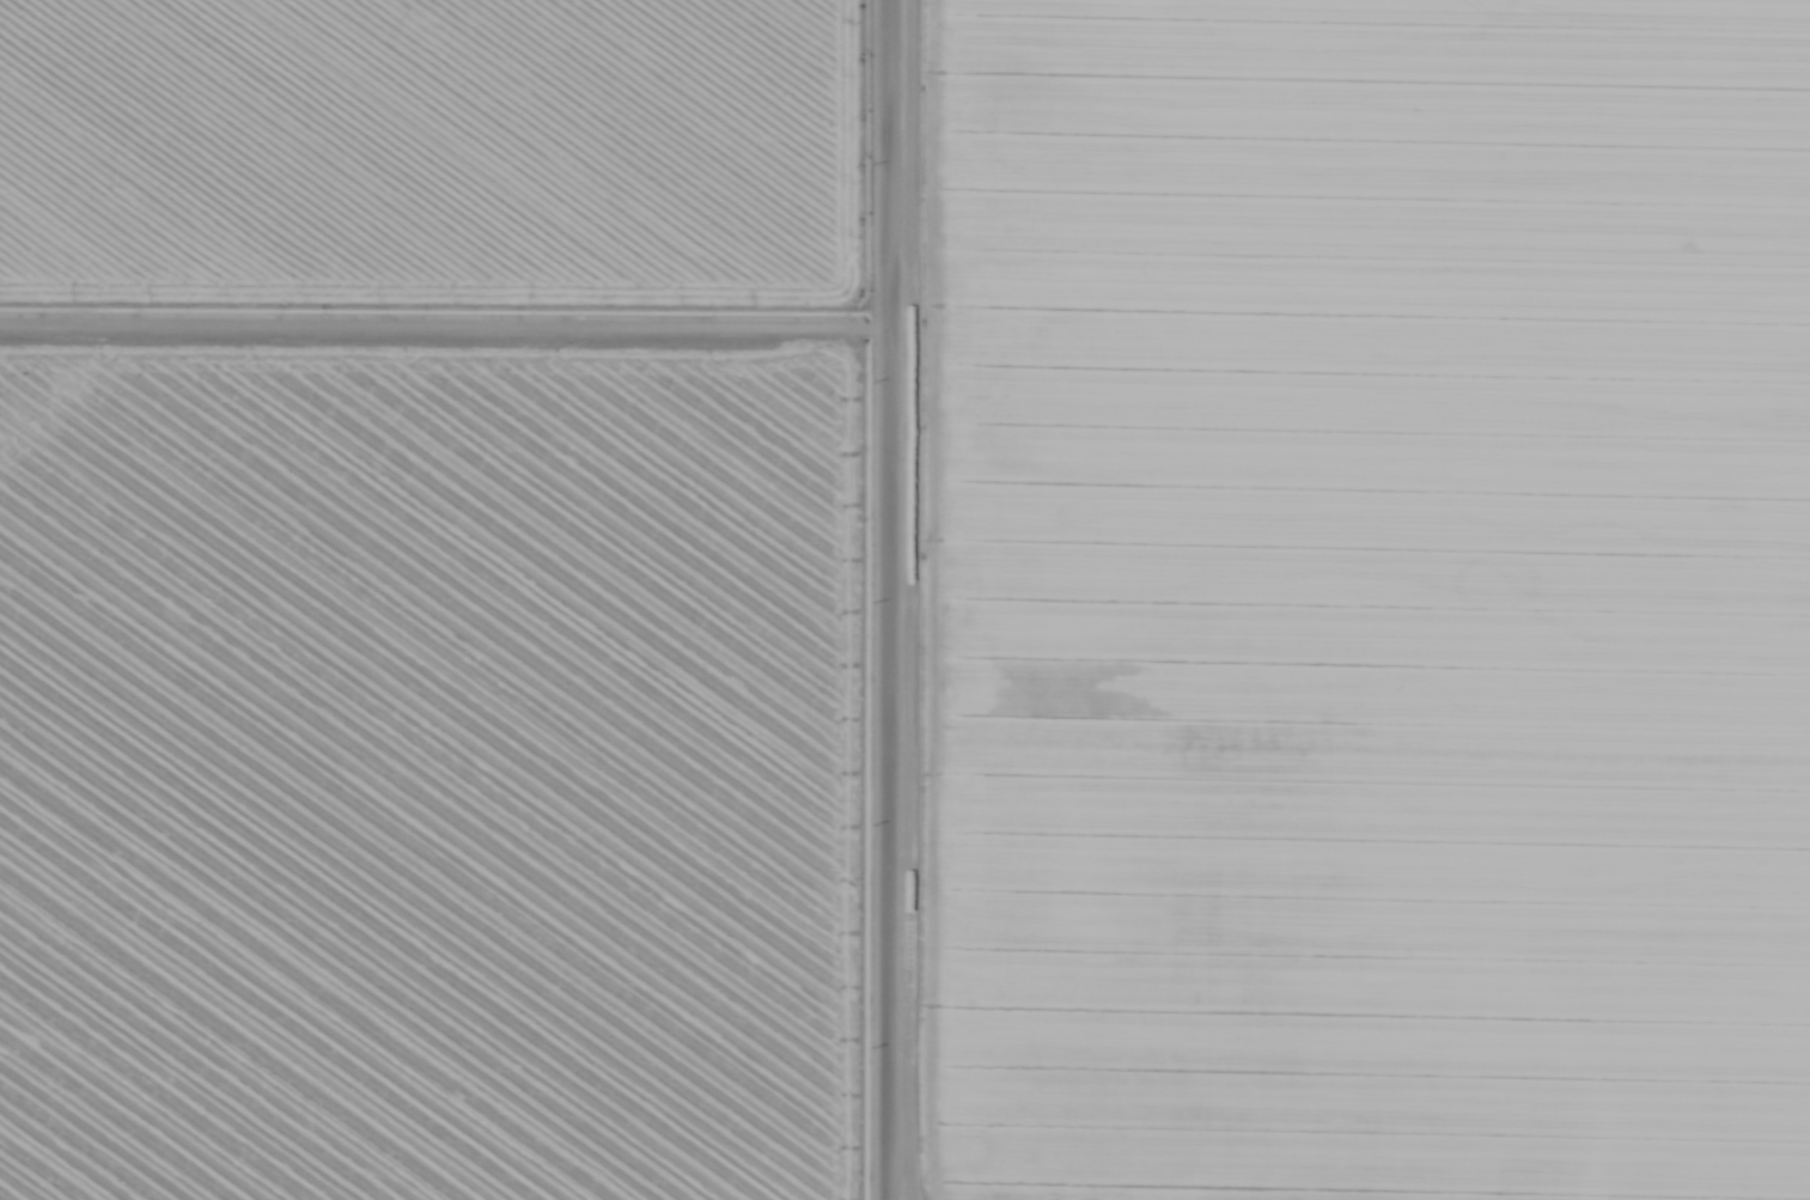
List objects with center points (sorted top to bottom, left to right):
building: (1178, 28)
building: (1430, 66)
crop: (437, 153)
building: (1790, 223)
road: (896, 599)
crop: (1364, 599)
crop: (432, 768)
building: (1302, 784)

